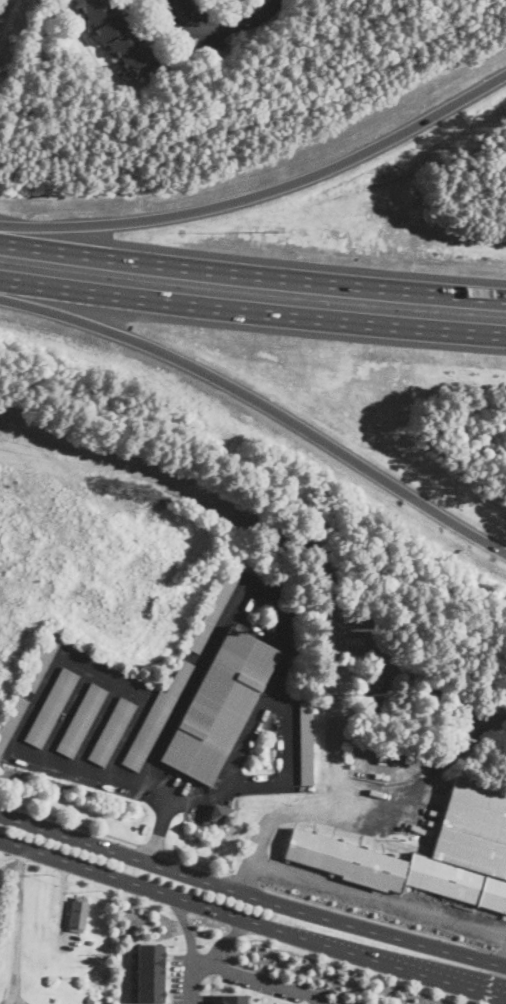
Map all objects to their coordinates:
road: (4, 7)
road: (186, 14)
road: (242, 20)
building: (118, 35)
road: (265, 191)
road: (252, 272)
road: (252, 306)
road: (262, 403)
building: (214, 610)
building: (355, 641)
building: (43, 660)
building: (220, 704)
building: (52, 706)
building: (82, 718)
building: (156, 718)
building: (12, 720)
building: (112, 730)
building: (306, 742)
road: (286, 746)
road: (128, 779)
road: (380, 798)
building: (219, 813)
road: (69, 821)
building: (470, 839)
road: (152, 848)
road: (196, 862)
road: (243, 877)
road: (360, 891)
road: (251, 897)
building: (78, 914)
road: (376, 916)
road: (252, 922)
road: (19, 925)
building: (90, 942)
road: (499, 949)
road: (198, 958)
road: (505, 962)
building: (150, 972)
road: (170, 978)
road: (263, 980)
road: (189, 981)
road: (211, 984)
building: (233, 999)
road: (340, 1000)
building: (90, 1001)
road: (11, 1002)

